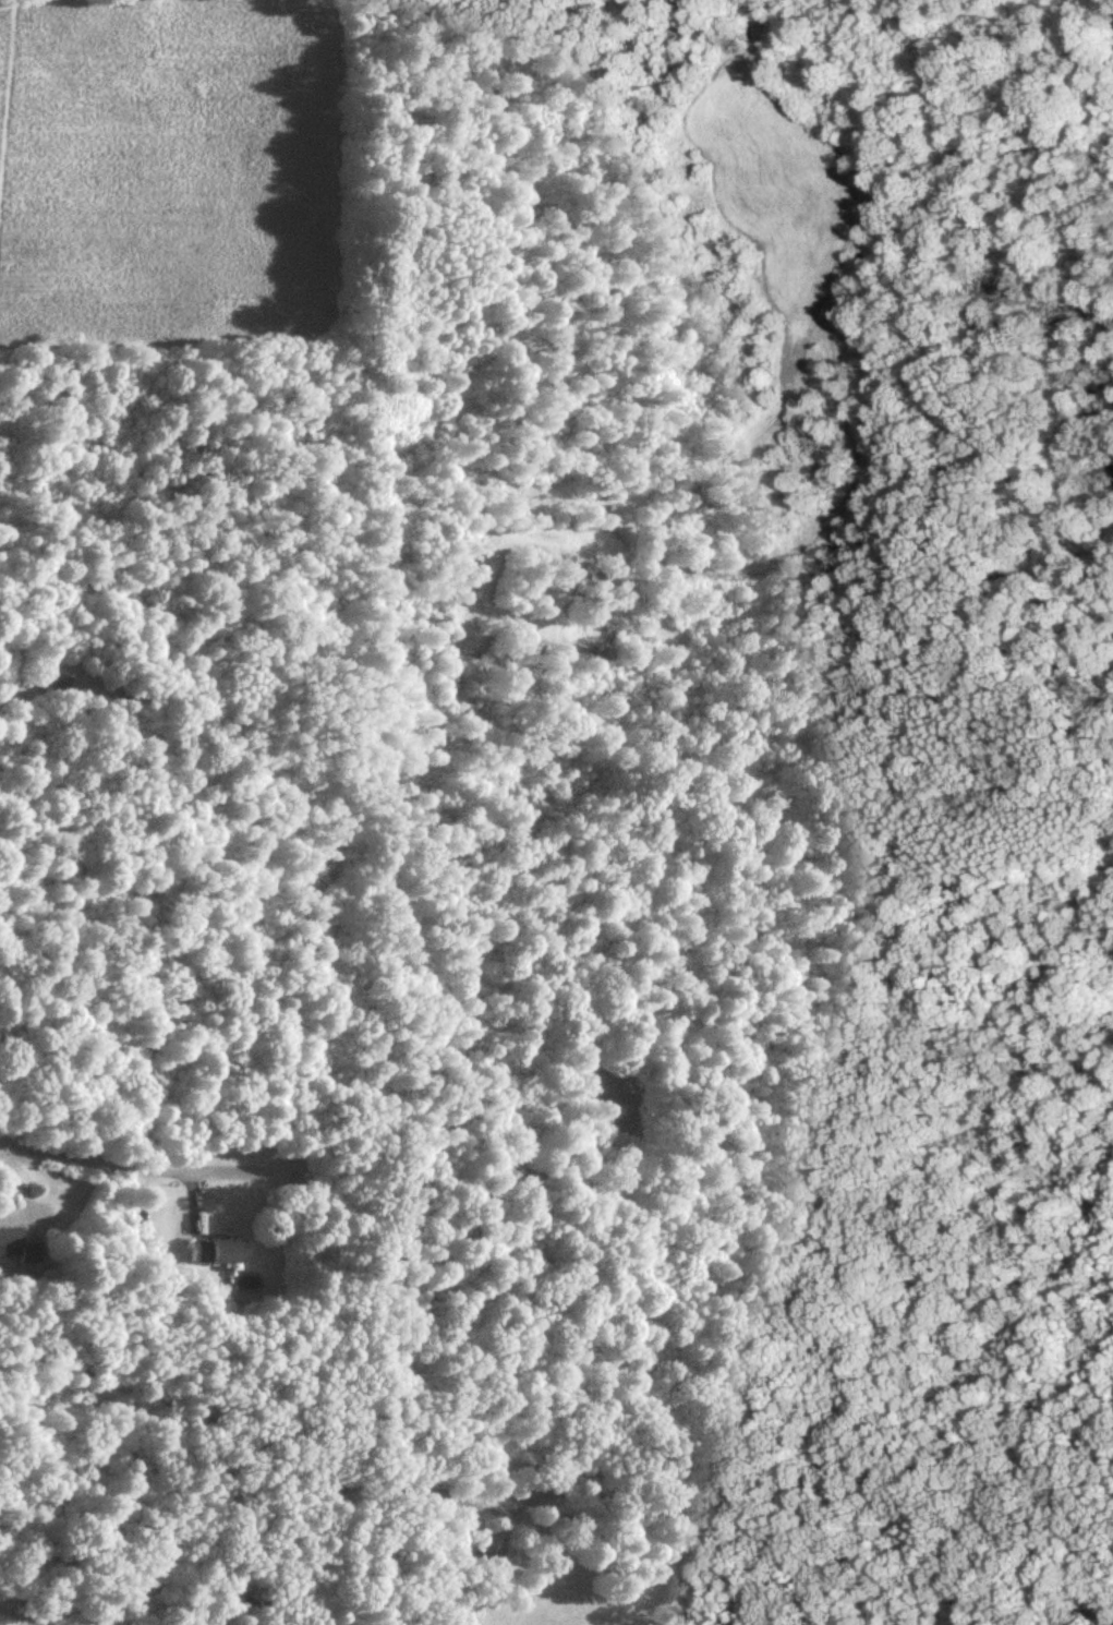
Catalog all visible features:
road: (96, 1164)
building: (15, 1250)
building: (205, 1256)

